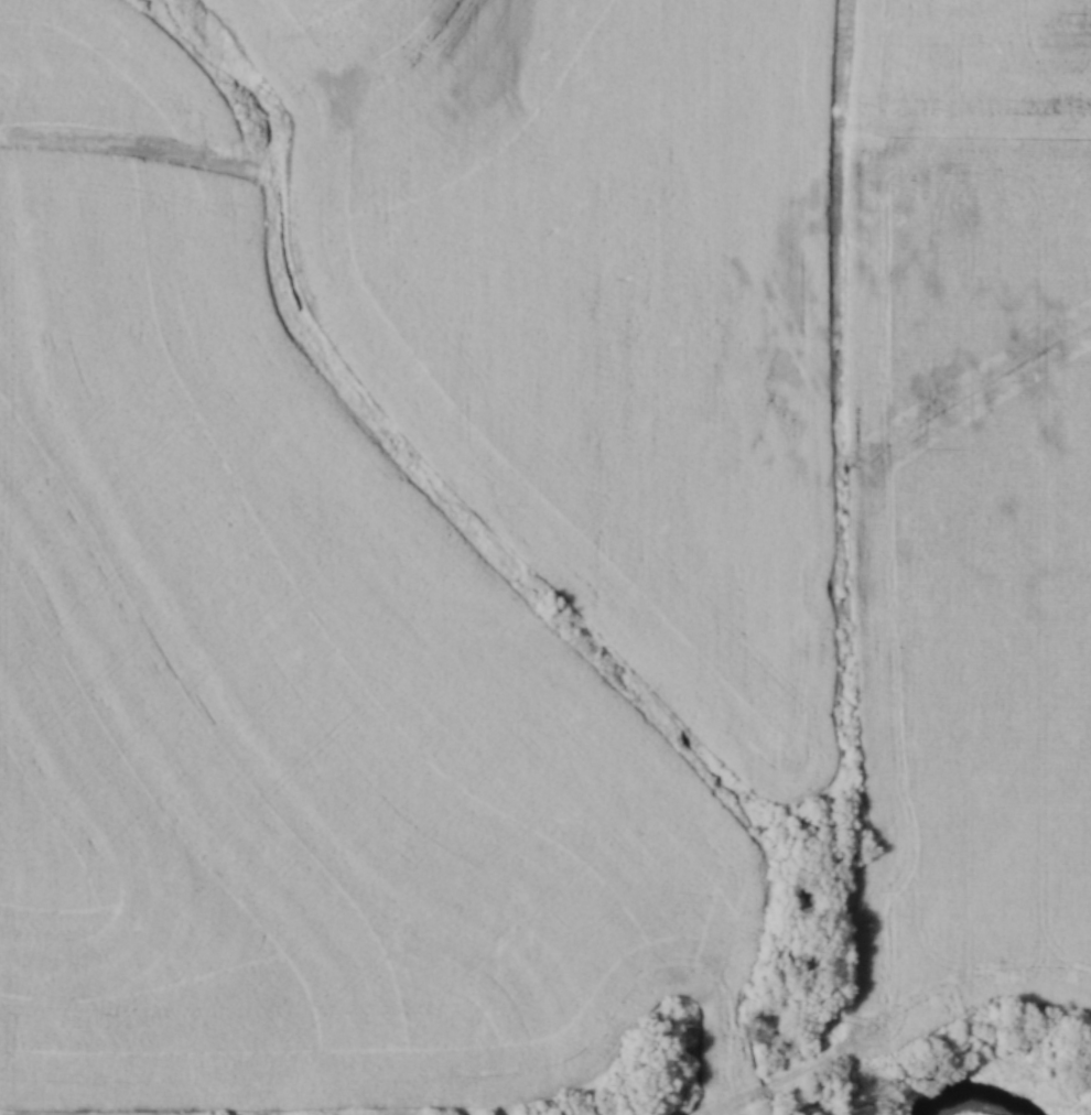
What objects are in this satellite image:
river: (984, 1084)

